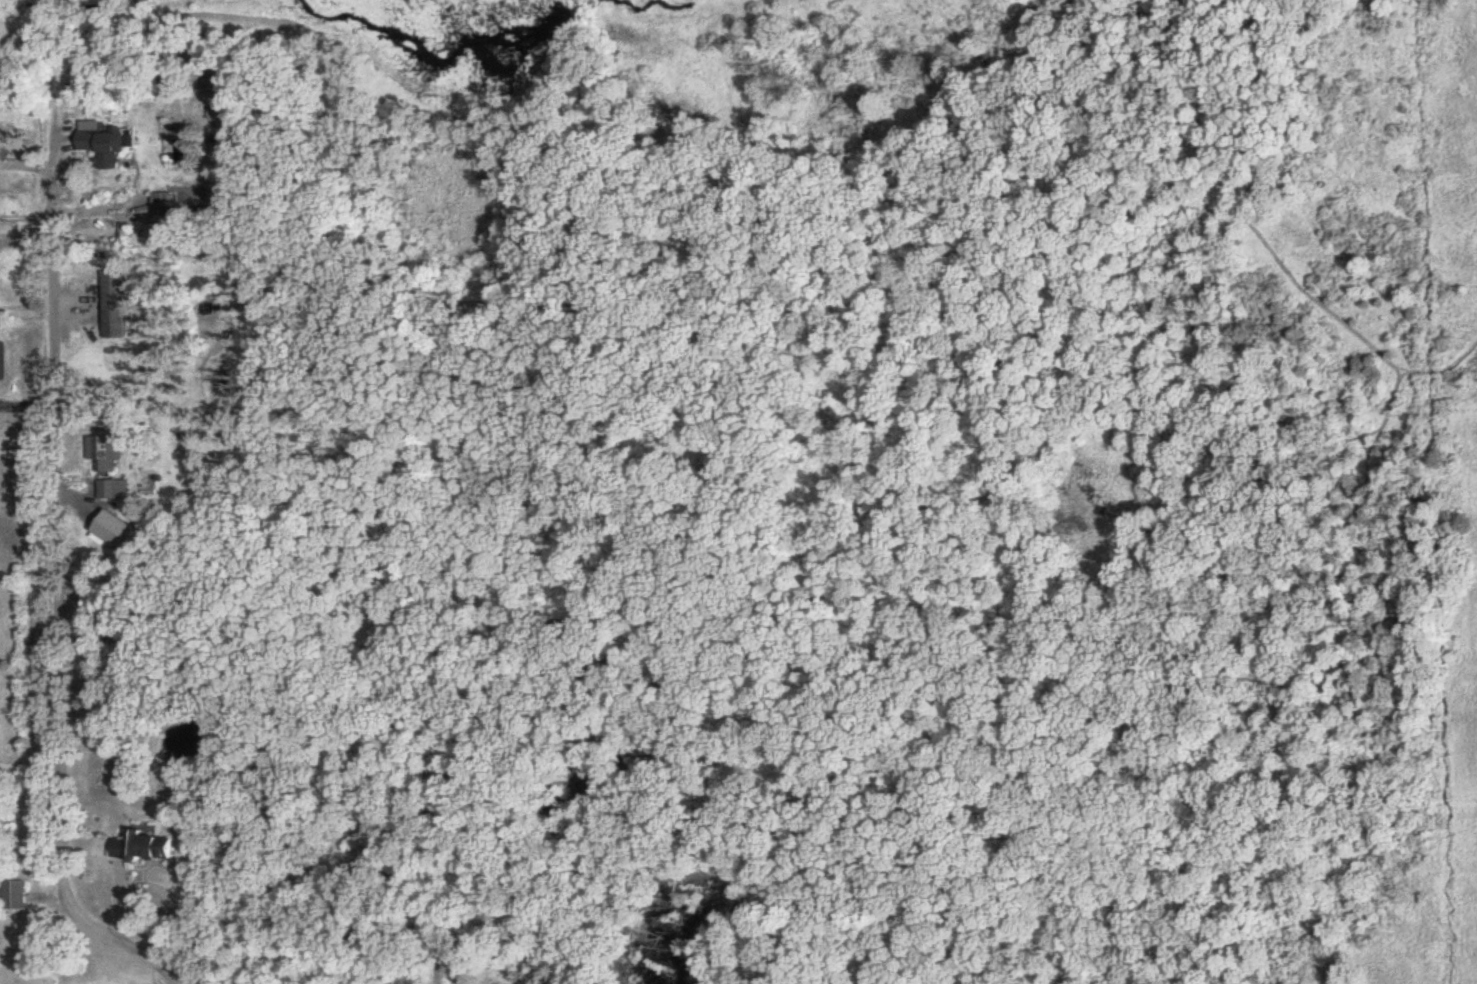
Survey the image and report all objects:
building: (105, 138)
road: (30, 221)
building: (117, 306)
building: (4, 361)
building: (100, 449)
building: (148, 476)
building: (110, 489)
road: (62, 574)
building: (147, 847)
road: (114, 894)
building: (17, 897)
road: (168, 900)
road: (438, 968)

